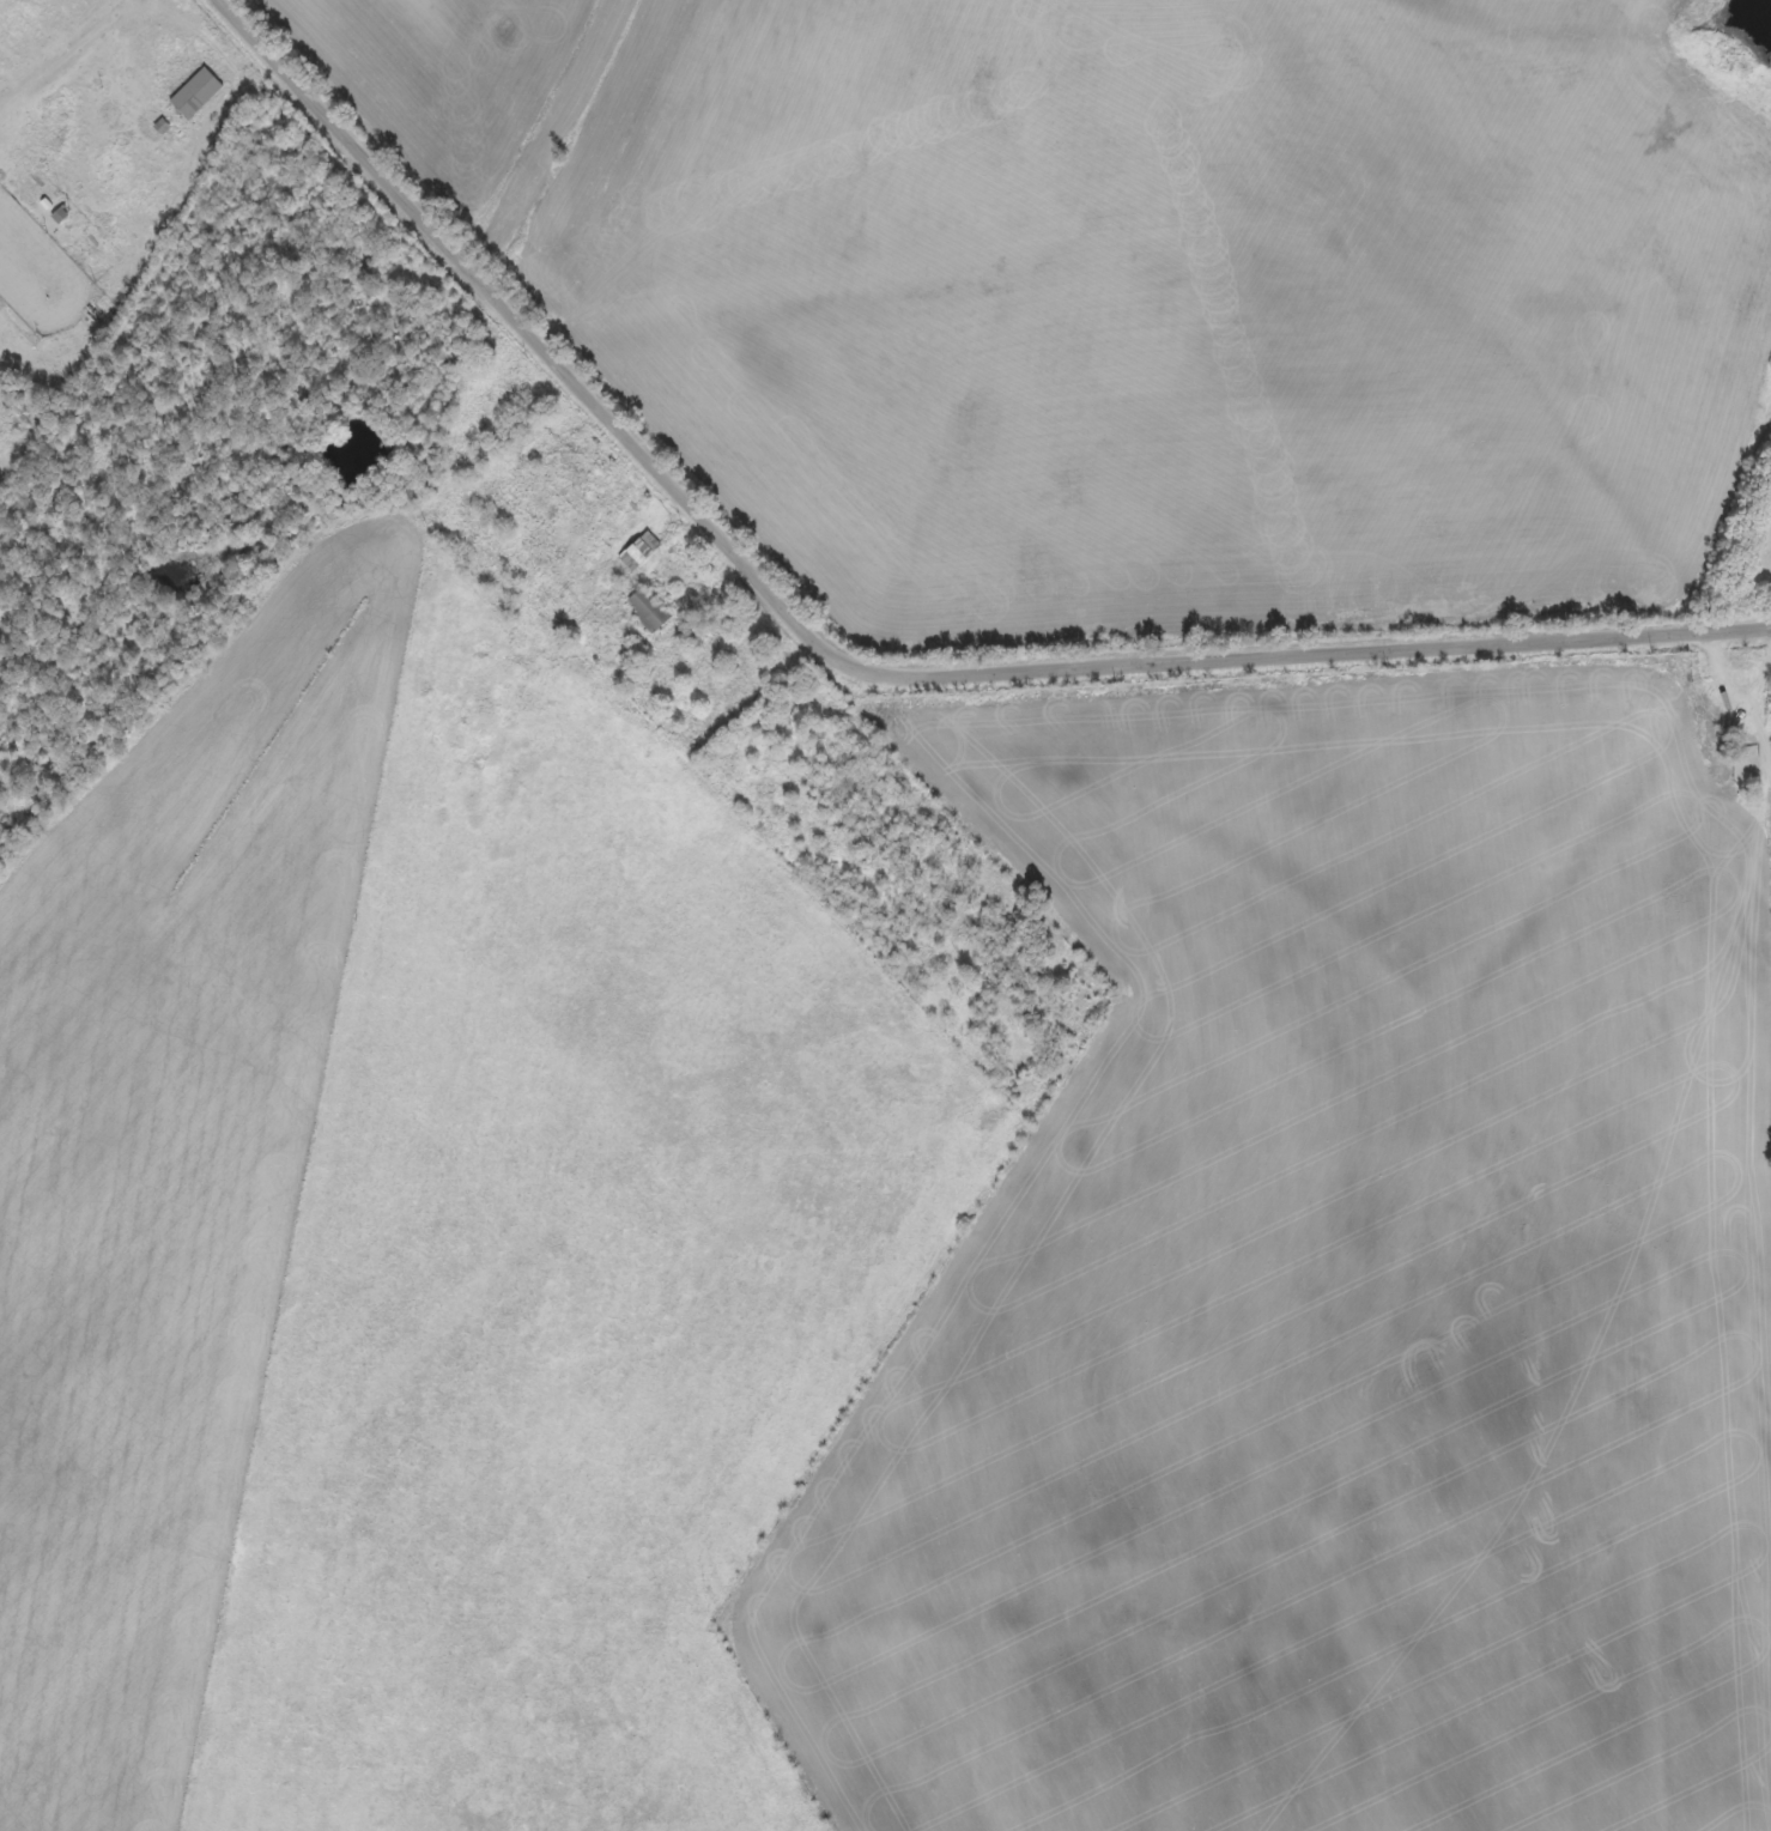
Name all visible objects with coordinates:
building: (199, 95)
building: (643, 553)
building: (651, 613)
road: (855, 662)
road: (1655, 1648)

